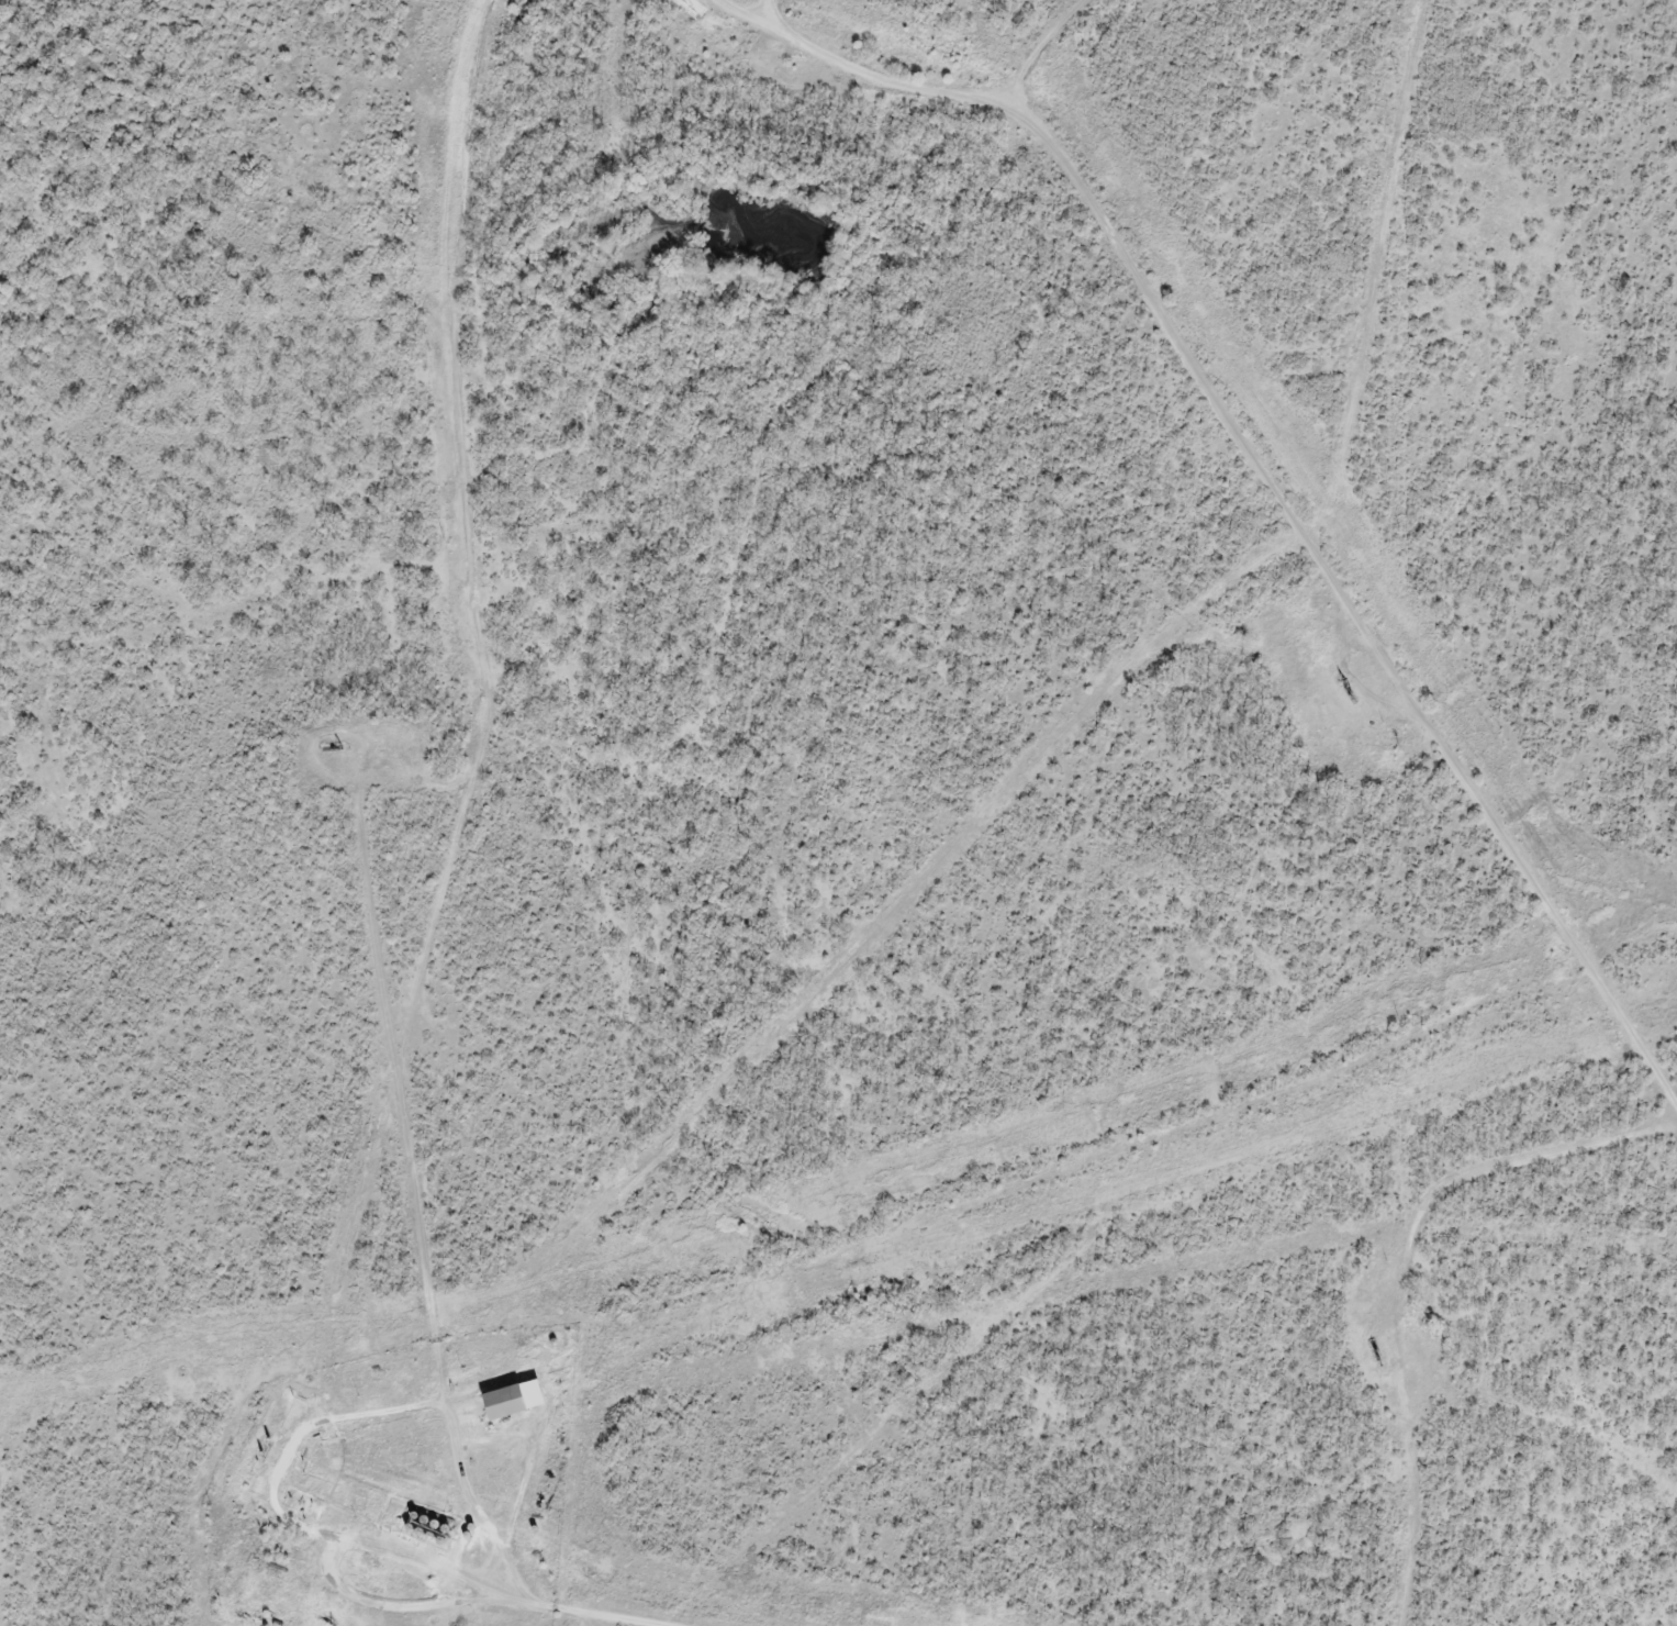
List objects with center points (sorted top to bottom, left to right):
road: (1265, 472)
building: (514, 1400)

